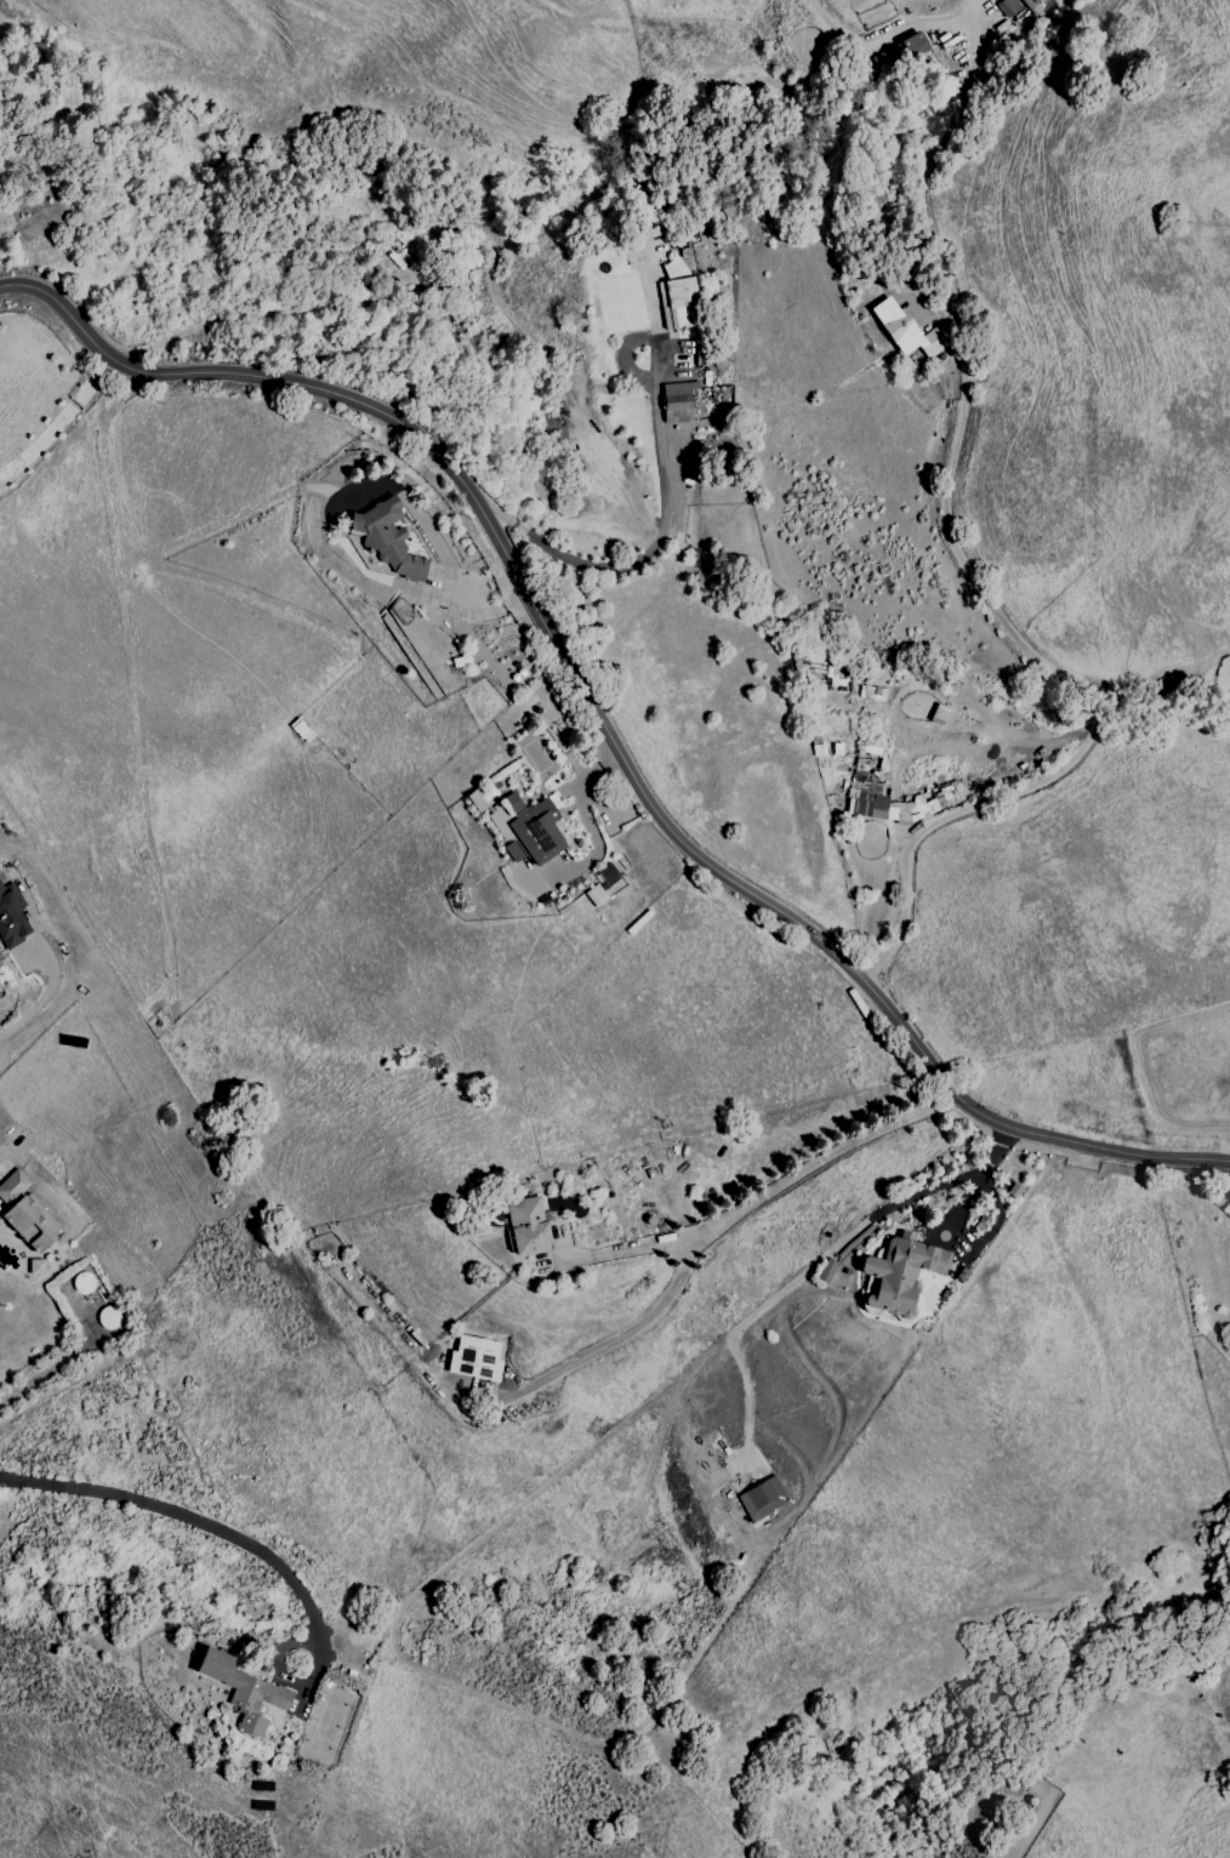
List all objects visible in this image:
building: (1021, 6)
building: (912, 45)
building: (674, 268)
building: (679, 304)
road: (62, 307)
building: (904, 330)
building: (678, 401)
road: (59, 421)
building: (386, 538)
road: (656, 541)
road: (970, 565)
building: (838, 678)
road: (637, 783)
building: (858, 796)
building: (533, 831)
building: (600, 885)
road: (45, 999)
road: (1206, 1179)
road: (767, 1195)
road: (47, 1196)
building: (25, 1213)
building: (526, 1225)
road: (824, 1256)
building: (825, 1272)
building: (899, 1273)
road: (621, 1338)
building: (474, 1358)
road: (49, 1369)
building: (762, 1498)
road: (211, 1527)
building: (247, 1692)

